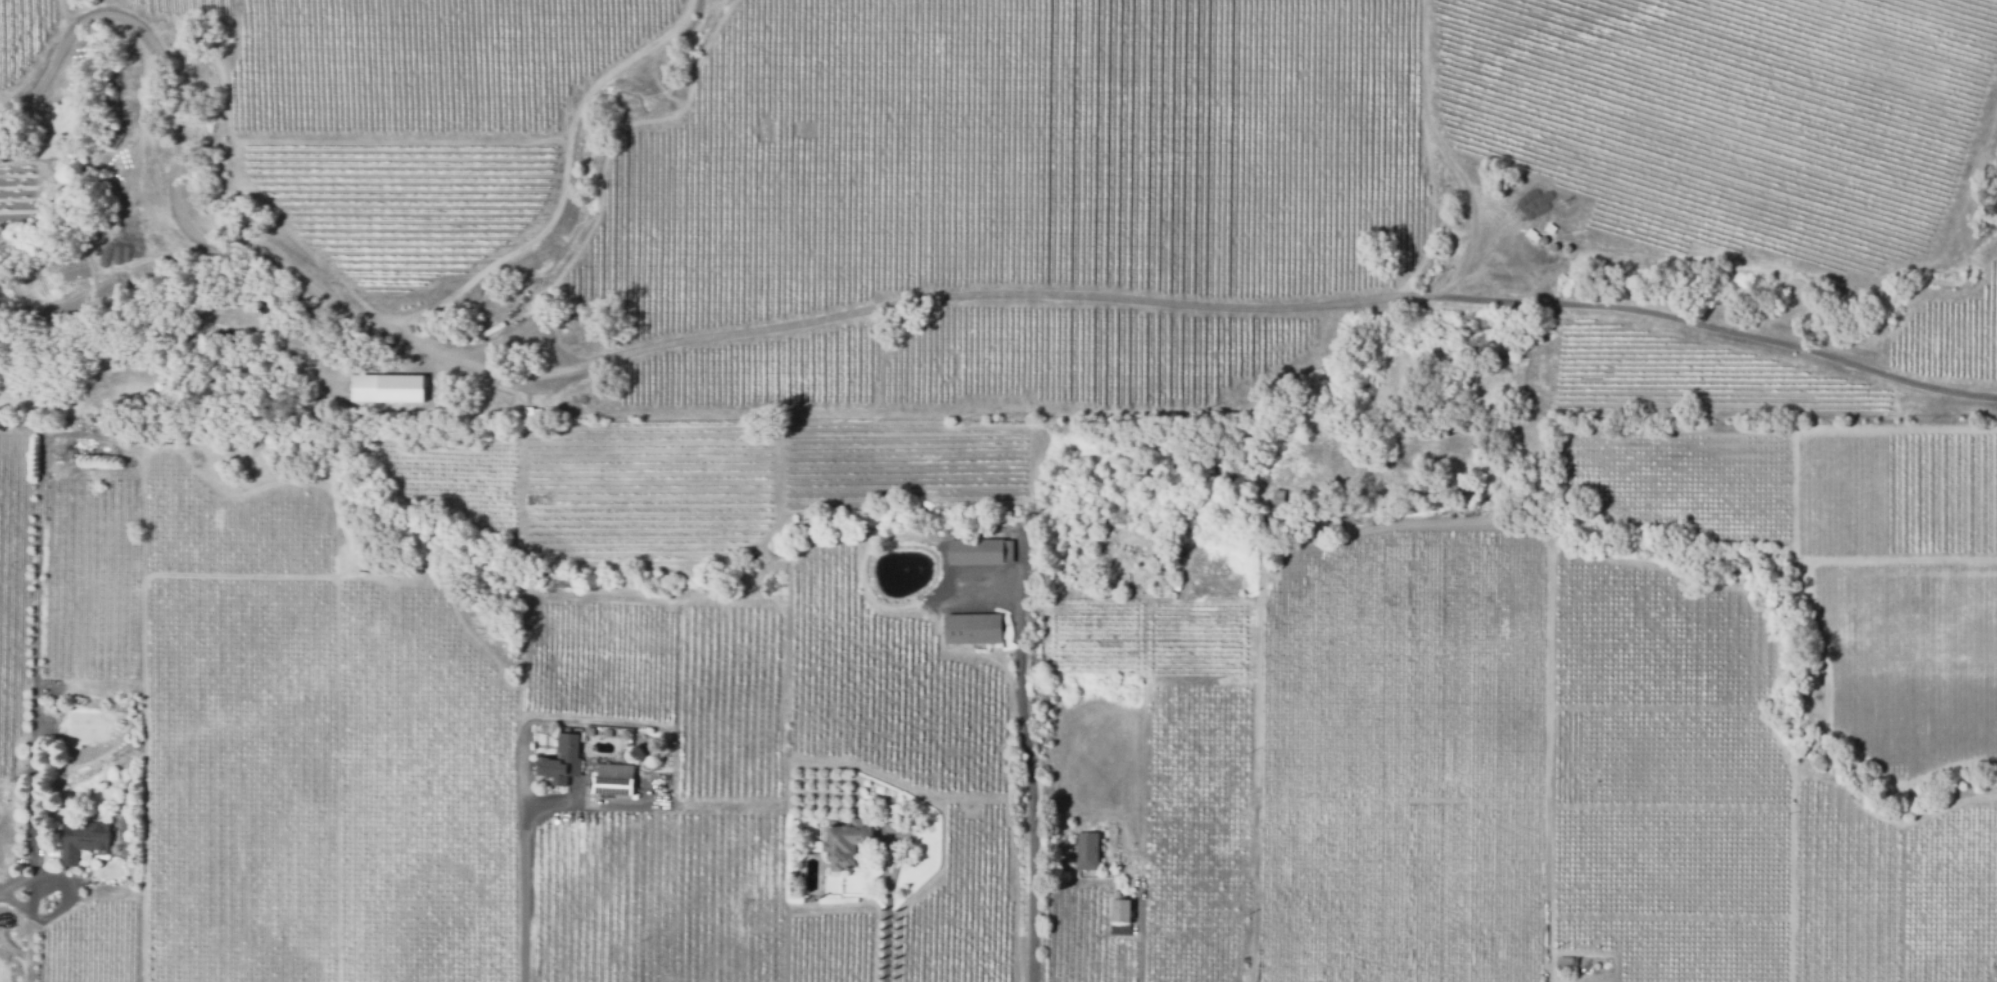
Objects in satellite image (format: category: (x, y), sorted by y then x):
road: (558, 179)
building: (1550, 227)
building: (1532, 234)
road: (870, 314)
road: (520, 328)
building: (455, 338)
building: (385, 387)
building: (532, 415)
building: (99, 451)
building: (1278, 499)
building: (982, 552)
building: (1162, 578)
building: (1103, 579)
building: (975, 628)
road: (36, 715)
building: (645, 749)
building: (560, 760)
building: (611, 779)
road: (1029, 794)
building: (81, 843)
building: (845, 844)
building: (1087, 851)
road: (524, 888)
building: (1120, 911)
road: (886, 927)
road: (1140, 959)
building: (1566, 963)

